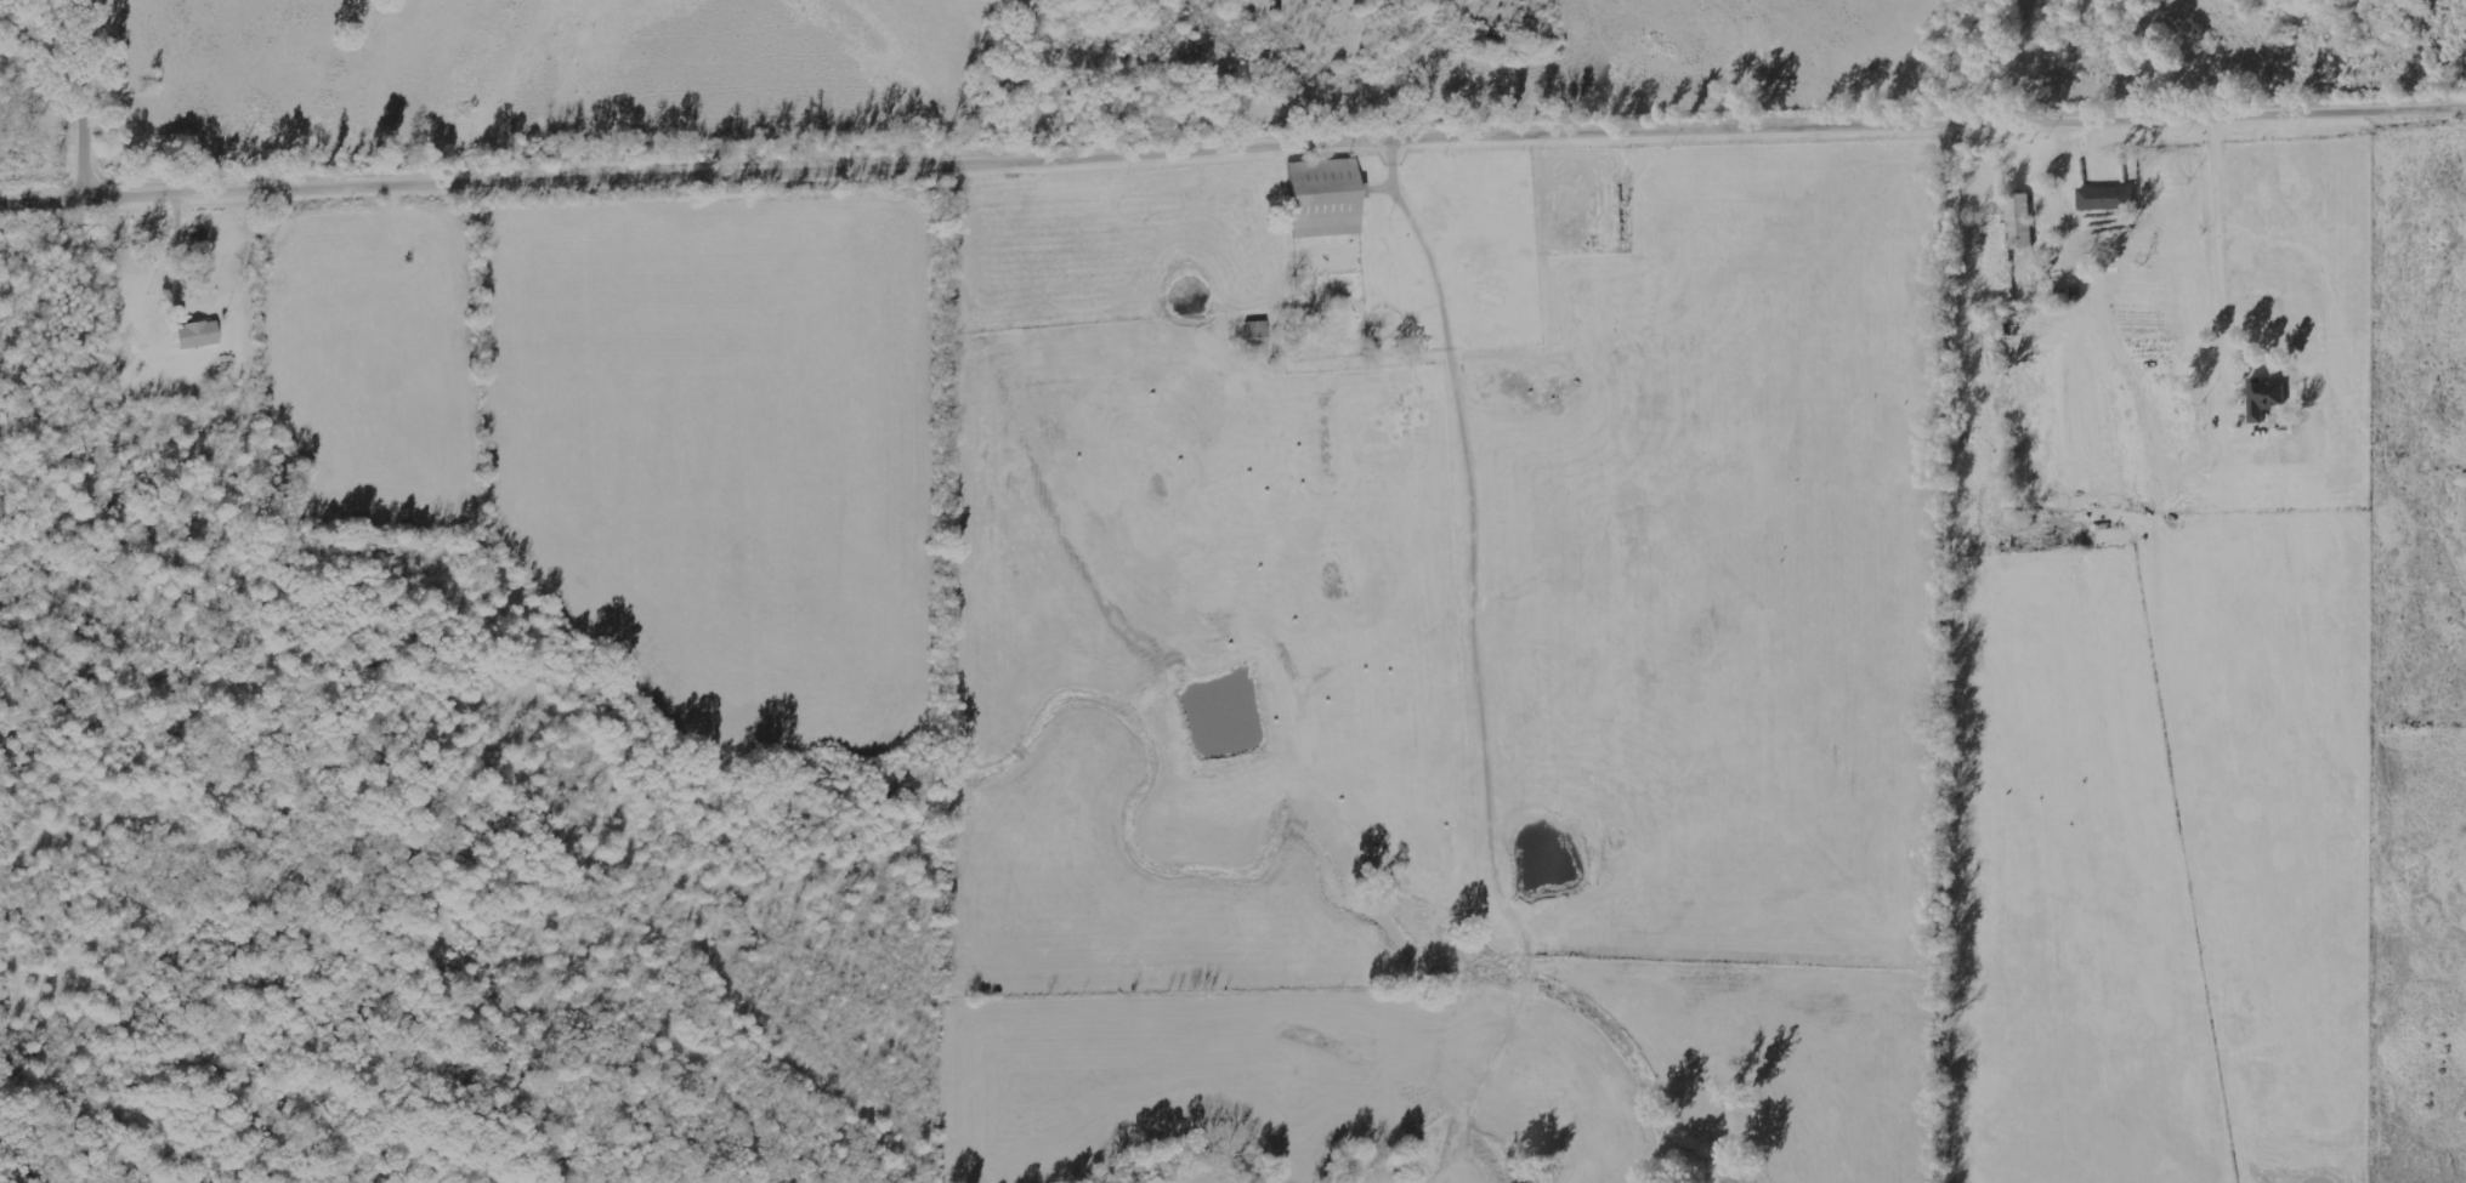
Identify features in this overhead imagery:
road: (96, 101)
road: (1232, 153)
building: (1330, 197)
building: (2108, 198)
building: (2022, 221)
building: (200, 334)
building: (1260, 336)
building: (2268, 397)

